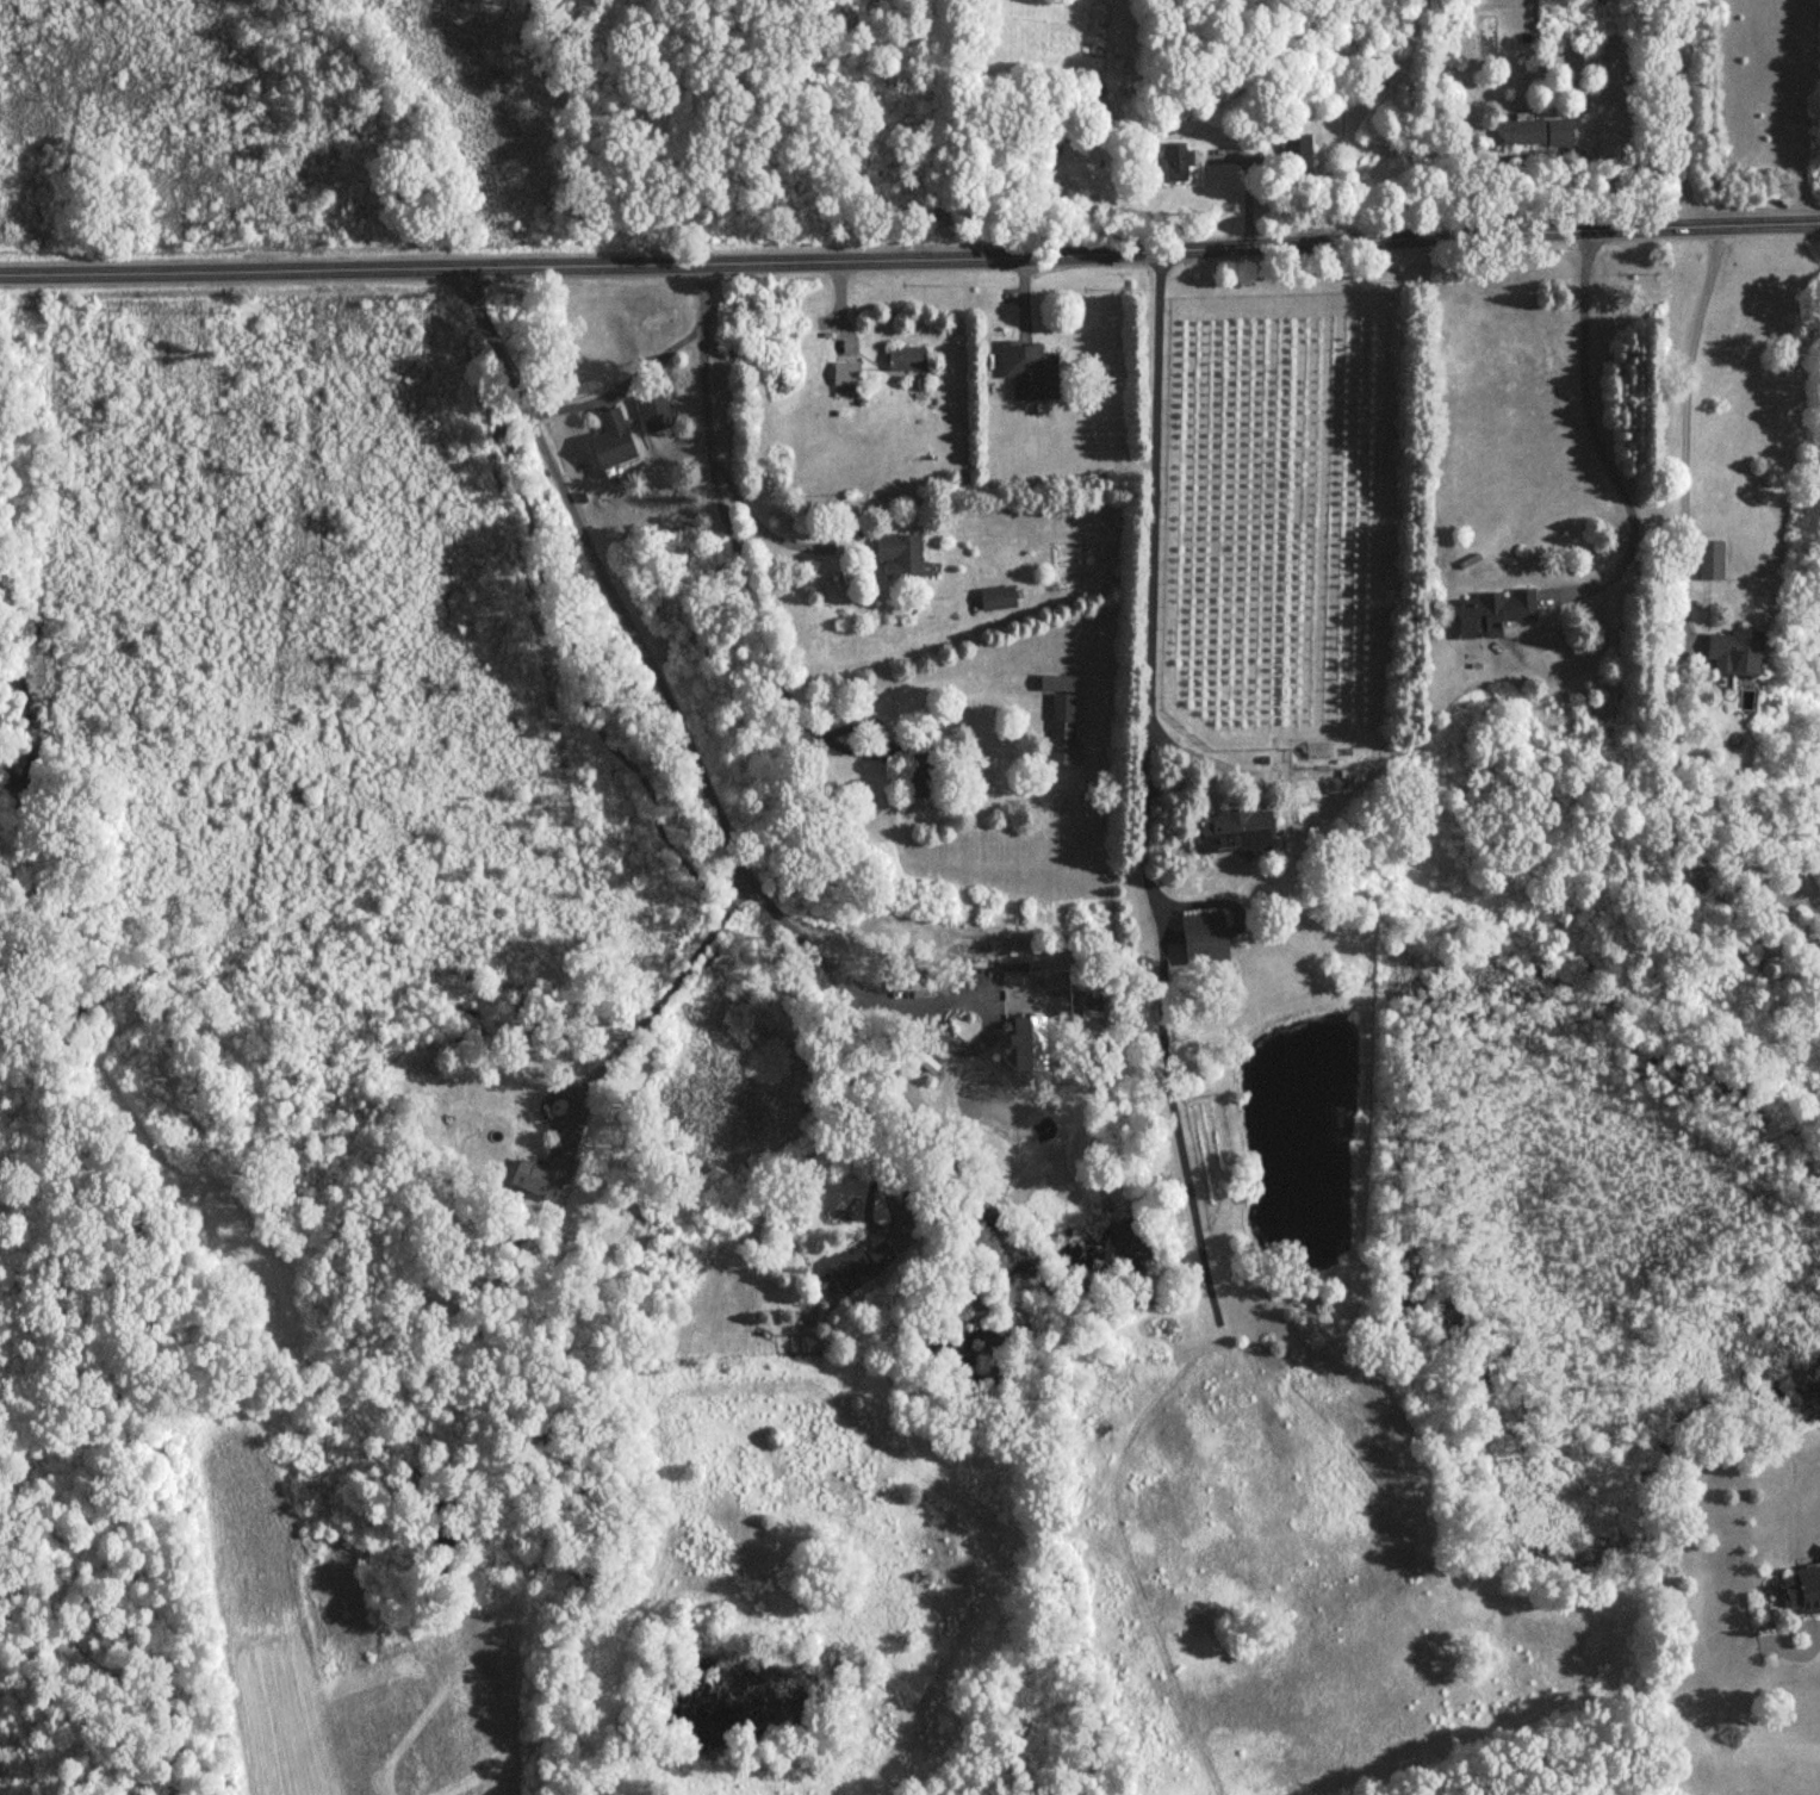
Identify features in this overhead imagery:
road: (1803, 111)
road: (1681, 113)
park: (511, 122)
building: (1536, 135)
building: (1297, 156)
building: (1176, 166)
road: (909, 261)
building: (906, 361)
building: (1033, 375)
building: (846, 377)
road: (616, 380)
building: (657, 415)
road: (1684, 426)
road: (712, 430)
road: (1594, 435)
building: (613, 441)
building: (899, 558)
building: (1710, 560)
road: (1145, 580)
building: (996, 600)
building: (1493, 613)
road: (760, 621)
road: (626, 625)
building: (1735, 650)
building: (1064, 731)
building: (924, 771)
building: (1235, 833)
building: (1204, 936)
road: (657, 996)
road: (980, 999)
building: (1031, 1041)
road: (874, 1120)
building: (540, 1178)
building: (859, 1265)
building: (1803, 1590)

